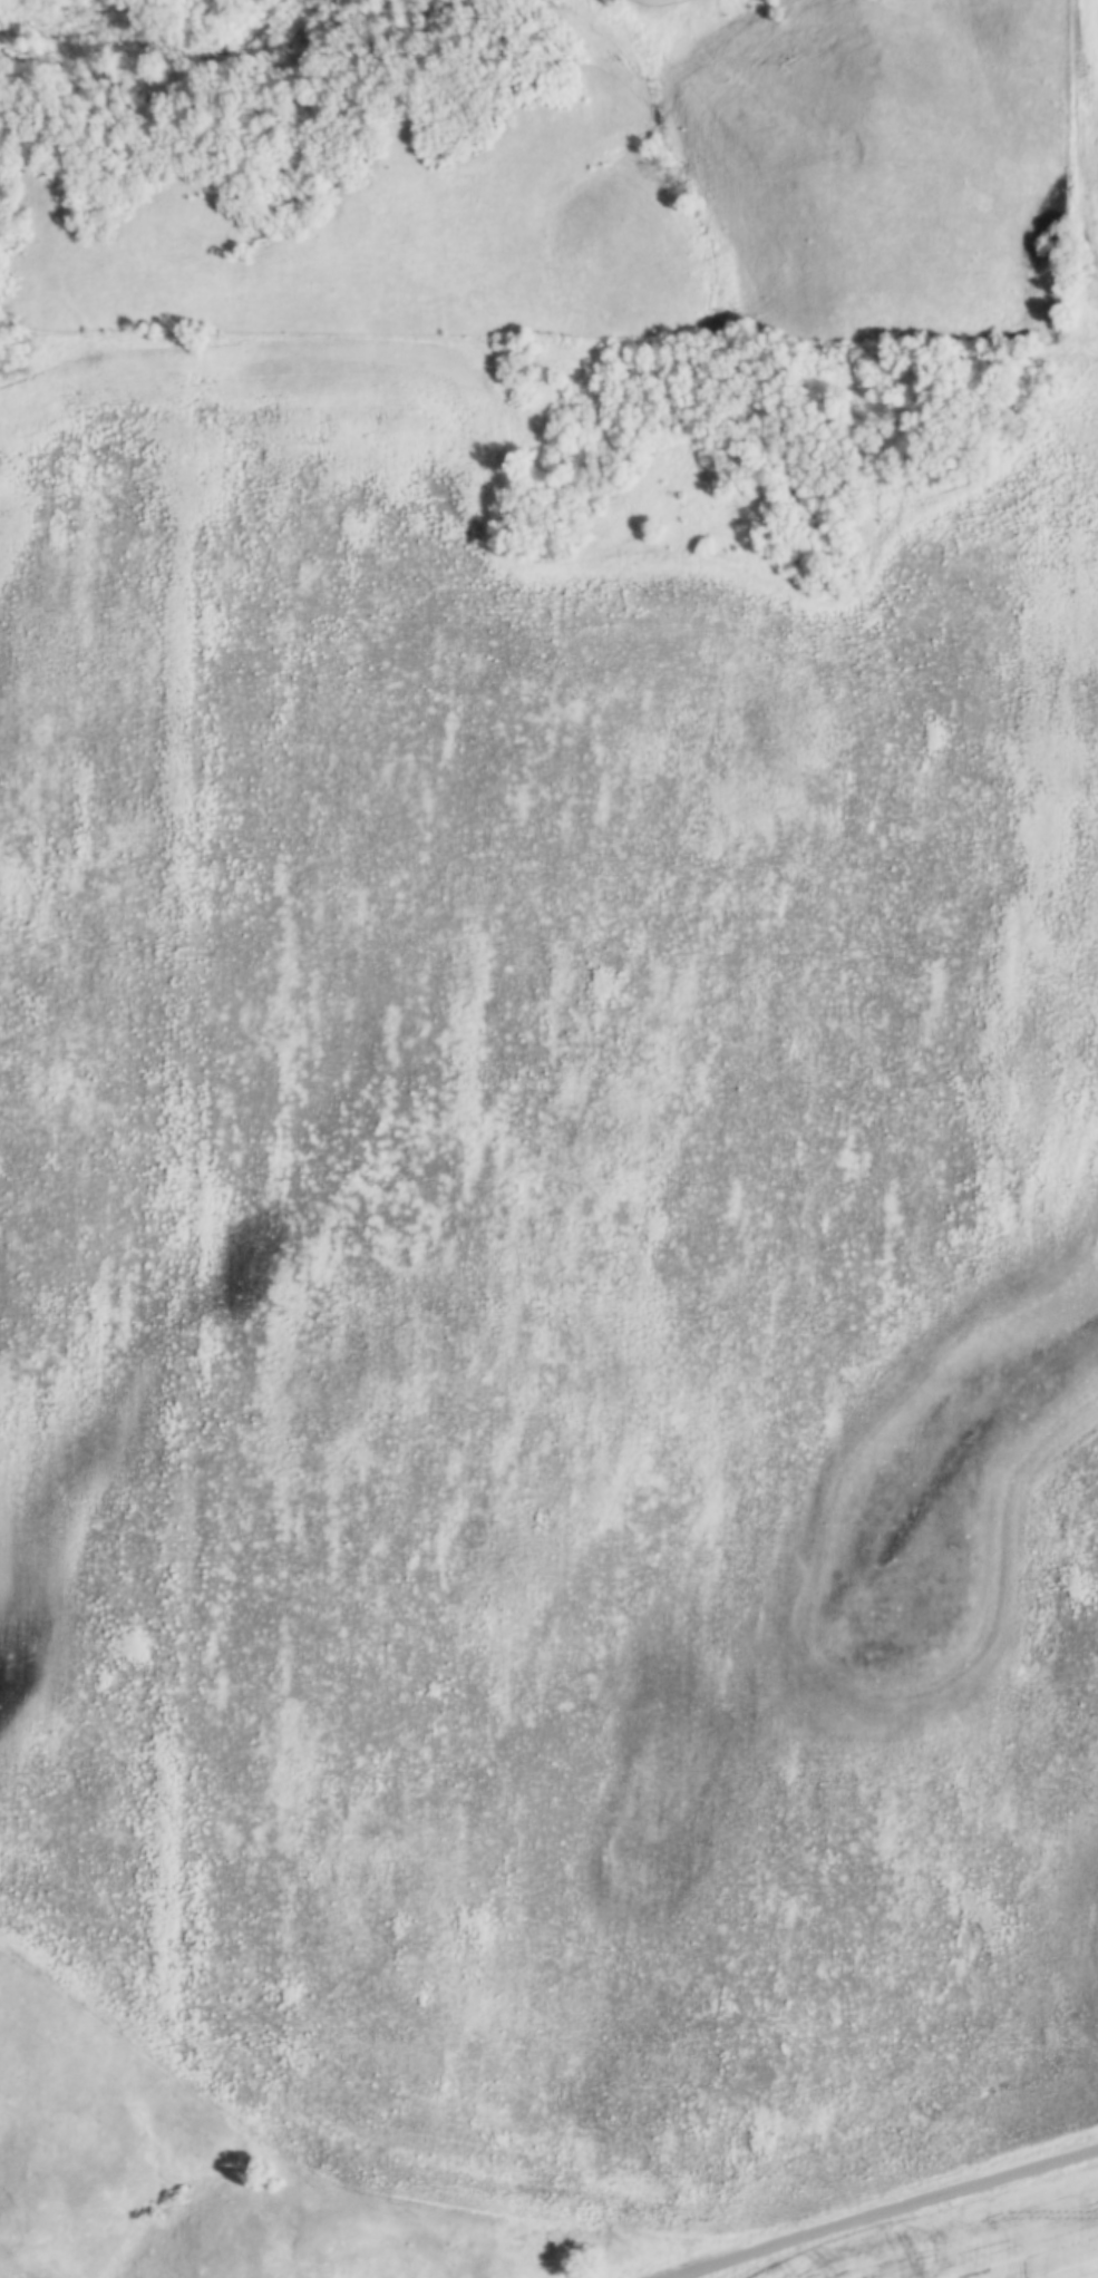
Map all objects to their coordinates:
road: (875, 2214)

